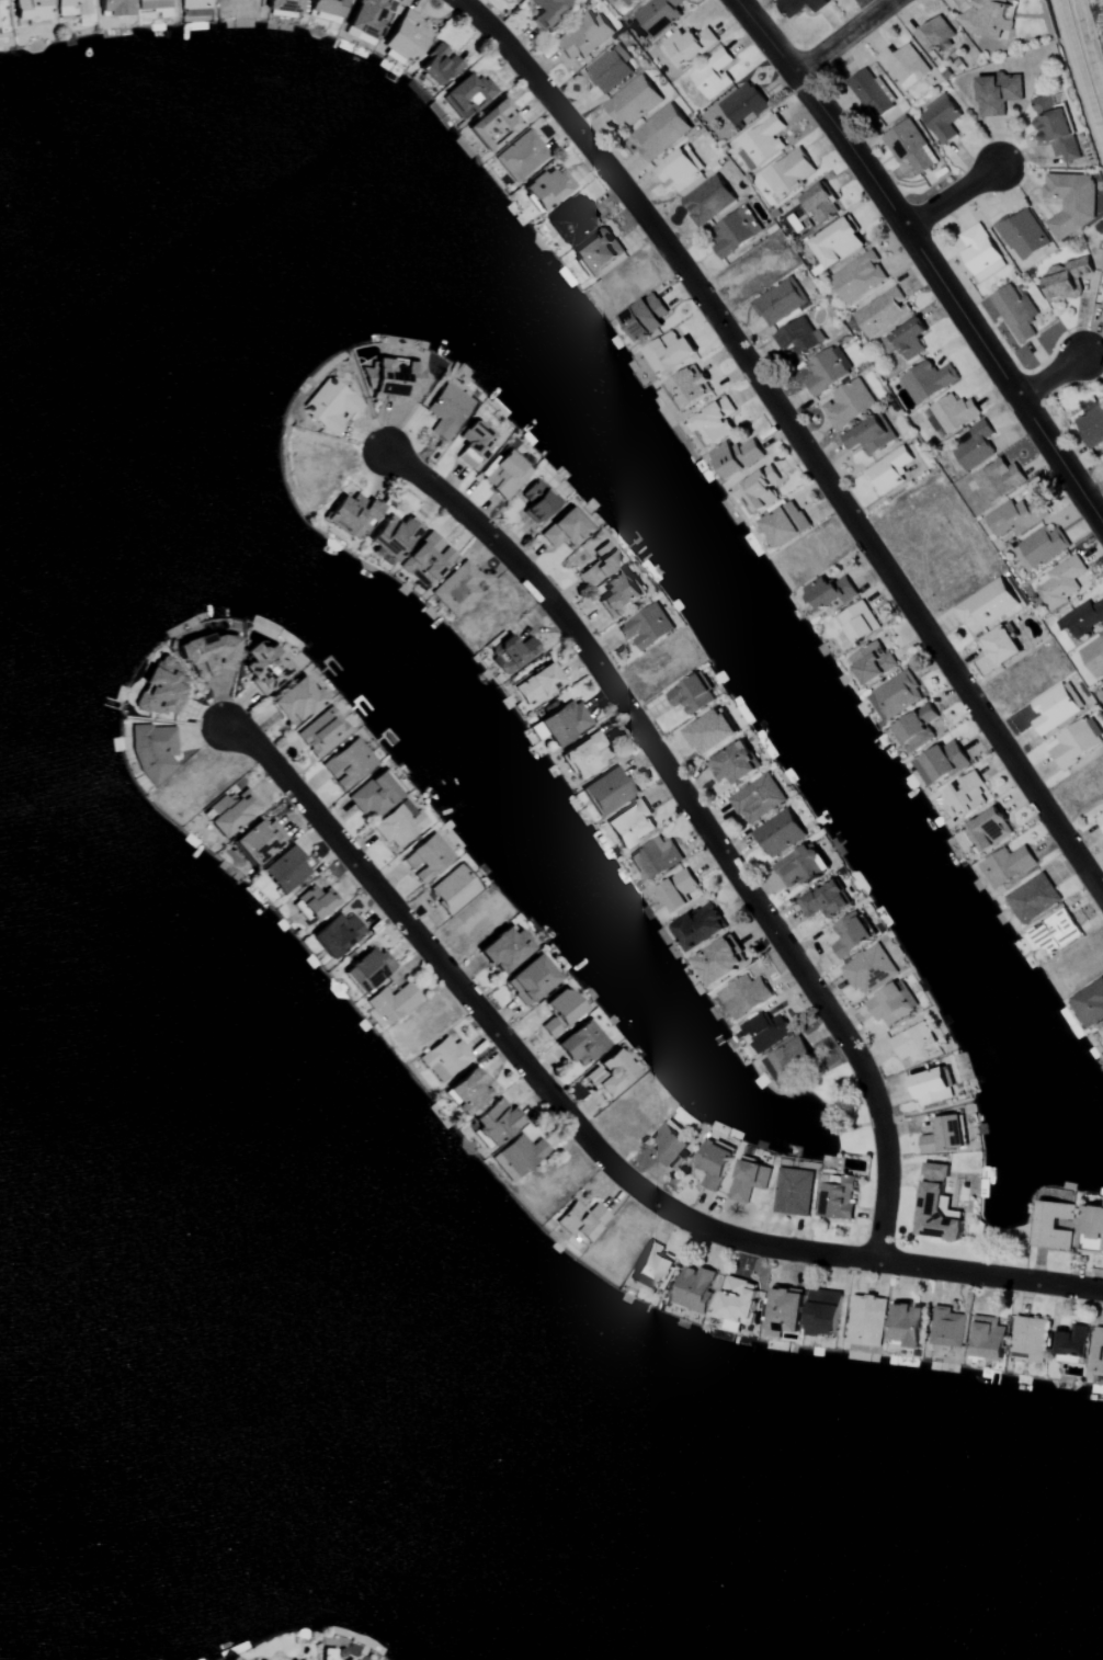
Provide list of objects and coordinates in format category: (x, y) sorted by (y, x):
building: (616, 0)
building: (832, 0)
building: (512, 1)
building: (628, 2)
building: (152, 3)
building: (283, 5)
building: (800, 5)
building: (112, 7)
building: (70, 8)
building: (29, 10)
building: (193, 10)
building: (325, 10)
building: (546, 11)
building: (658, 14)
building: (367, 16)
building: (987, 18)
building: (1, 21)
building: (935, 34)
building: (406, 36)
building: (582, 37)
road: (840, 37)
building: (686, 47)
building: (439, 66)
building: (903, 67)
road: (1081, 68)
building: (610, 69)
building: (713, 75)
building: (871, 93)
building: (998, 94)
building: (467, 95)
building: (634, 102)
building: (743, 104)
building: (941, 118)
building: (492, 126)
building: (1055, 127)
building: (661, 133)
building: (763, 141)
building: (909, 147)
building: (520, 157)
building: (679, 170)
building: (788, 174)
building: (546, 187)
road: (952, 197)
building: (708, 201)
building: (1070, 203)
building: (820, 204)
building: (570, 220)
building: (735, 235)
building: (1023, 236)
building: (837, 243)
building: (980, 253)
building: (594, 255)
road: (928, 255)
building: (858, 277)
building: (1067, 278)
building: (780, 302)
building: (882, 312)
building: (1015, 314)
building: (798, 337)
building: (906, 341)
building: (670, 353)
building: (826, 371)
road: (1051, 378)
building: (395, 380)
building: (926, 382)
building: (690, 389)
building: (849, 405)
building: (330, 406)
building: (445, 410)
building: (954, 413)
building: (714, 423)
building: (888, 425)
building: (1092, 427)
road: (796, 435)
building: (869, 437)
building: (473, 443)
building: (975, 446)
building: (737, 458)
building: (889, 471)
building: (505, 475)
building: (999, 480)
building: (760, 490)
building: (537, 499)
building: (352, 515)
building: (1016, 518)
building: (786, 525)
building: (564, 528)
building: (391, 536)
building: (1041, 548)
building: (427, 559)
building: (599, 565)
building: (1060, 582)
building: (456, 588)
building: (618, 592)
building: (829, 593)
building: (987, 603)
building: (1082, 619)
building: (858, 623)
building: (646, 626)
building: (1000, 645)
building: (510, 651)
building: (206, 656)
building: (1093, 657)
building: (873, 663)
building: (263, 667)
building: (537, 684)
building: (159, 690)
building: (692, 693)
building: (896, 694)
building: (296, 700)
building: (1054, 706)
building: (564, 720)
building: (917, 727)
building: (712, 730)
building: (322, 732)
building: (1077, 741)
building: (153, 750)
building: (584, 754)
building: (735, 762)
building: (943, 762)
building: (348, 763)
building: (609, 788)
building: (374, 794)
building: (967, 794)
building: (758, 798)
building: (1102, 804)
building: (228, 810)
building: (1101, 820)
building: (398, 823)
building: (632, 823)
road: (702, 826)
building: (987, 830)
building: (780, 832)
building: (258, 841)
building: (425, 857)
building: (655, 857)
building: (1007, 864)
building: (801, 866)
building: (286, 868)
building: (453, 889)
building: (680, 890)
building: (1033, 898)
building: (825, 900)
building: (314, 901)
building: (698, 924)
building: (337, 933)
building: (1054, 933)
building: (851, 934)
building: (503, 948)
building: (720, 960)
building: (367, 968)
building: (869, 968)
building: (530, 979)
building: (744, 994)
building: (891, 1002)
building: (1090, 1002)
building: (391, 1003)
building: (559, 1011)
building: (765, 1030)
building: (1102, 1030)
building: (914, 1042)
building: (581, 1043)
building: (443, 1057)
building: (791, 1061)
building: (609, 1073)
building: (931, 1087)
building: (468, 1090)
building: (493, 1122)
building: (943, 1134)
road: (589, 1139)
building: (668, 1144)
building: (519, 1155)
building: (714, 1162)
building: (749, 1180)
building: (794, 1191)
building: (835, 1195)
building: (936, 1205)
building: (581, 1220)
building: (1053, 1224)
building: (1091, 1229)
building: (653, 1267)
building: (695, 1287)
building: (738, 1299)
building: (786, 1309)
building: (823, 1312)
building: (867, 1320)
building: (907, 1324)
building: (948, 1326)
building: (988, 1337)
building: (1028, 1339)
building: (1071, 1340)
building: (1098, 1350)

